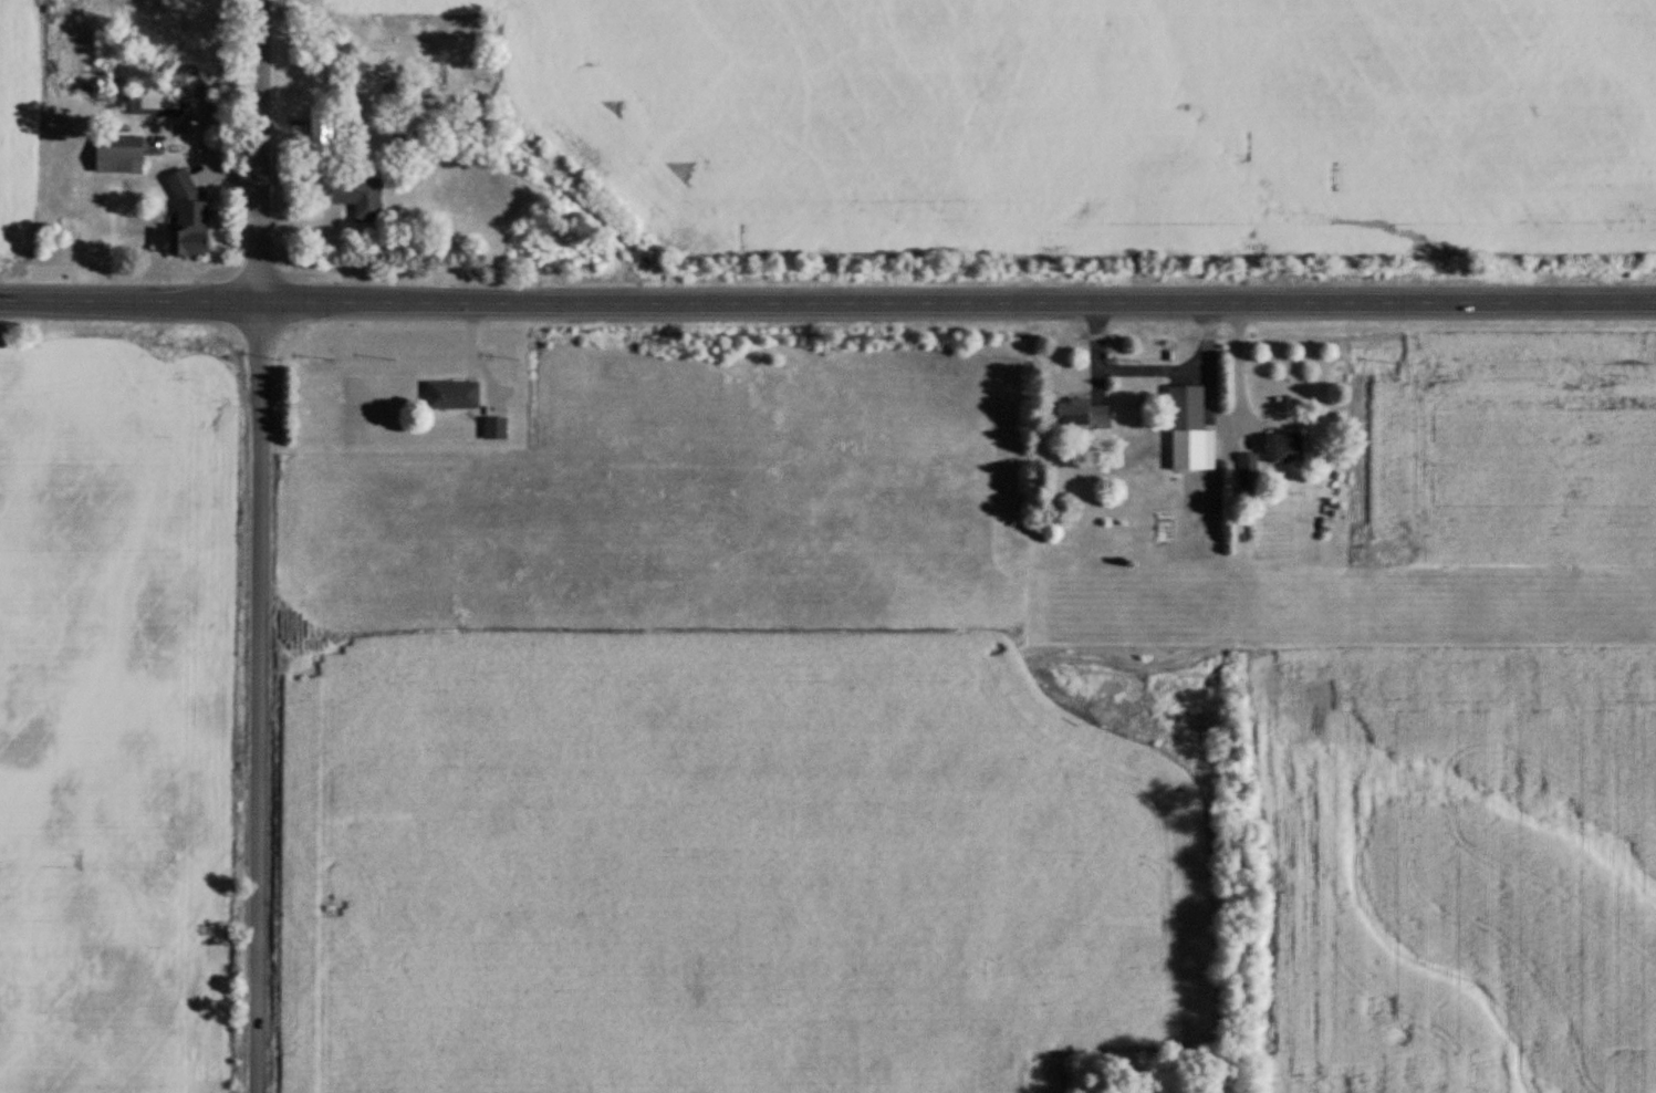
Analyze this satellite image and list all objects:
building: (152, 96)
road: (261, 106)
building: (317, 124)
building: (117, 150)
building: (352, 190)
building: (185, 216)
road: (260, 257)
road: (827, 298)
road: (260, 336)
road: (1149, 371)
building: (450, 391)
road: (1239, 397)
building: (1079, 410)
building: (492, 424)
building: (1187, 427)
building: (1279, 441)
building: (1247, 470)
airport runway: (1340, 603)
road: (259, 733)

